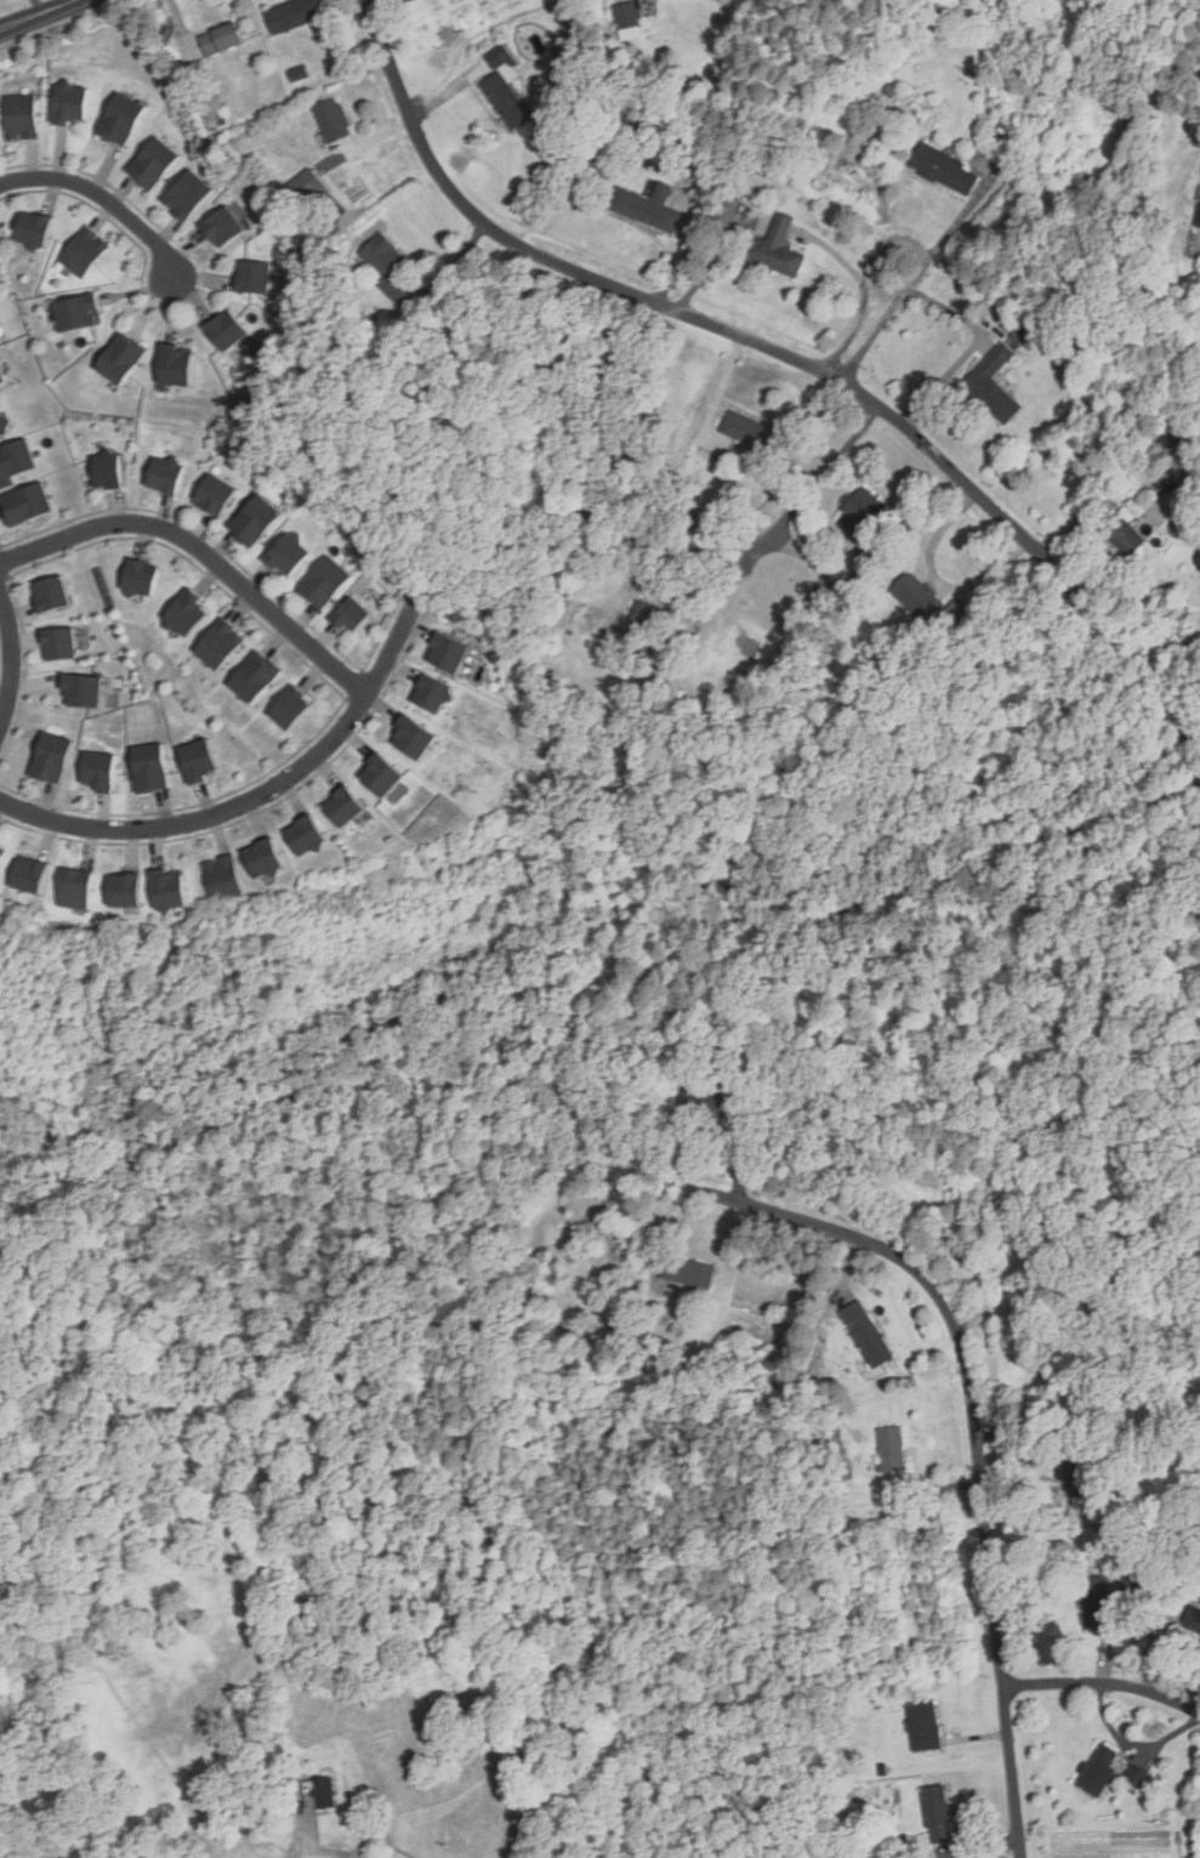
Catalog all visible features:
building: (295, 13)
road: (38, 15)
building: (627, 15)
building: (221, 39)
building: (499, 56)
building: (505, 100)
building: (69, 103)
building: (19, 115)
building: (119, 118)
building: (332, 119)
building: (152, 161)
building: (944, 169)
building: (308, 188)
building: (186, 194)
road: (103, 197)
building: (647, 206)
building: (723, 212)
building: (1198, 215)
building: (221, 226)
building: (32, 228)
building: (775, 248)
building: (83, 251)
building: (386, 262)
building: (254, 275)
road: (914, 279)
building: (78, 312)
road: (689, 316)
road: (869, 318)
building: (227, 329)
road: (972, 348)
building: (121, 357)
building: (175, 364)
building: (1, 377)
building: (994, 385)
building: (4, 422)
building: (753, 432)
building: (15, 460)
building: (107, 470)
building: (164, 475)
building: (212, 494)
building: (25, 502)
road: (795, 508)
building: (861, 512)
building: (254, 519)
building: (1124, 530)
road: (204, 550)
building: (286, 553)
building: (140, 576)
road: (939, 579)
building: (324, 581)
building: (51, 593)
building: (919, 596)
building: (959, 608)
building: (187, 613)
building: (646, 614)
building: (349, 615)
building: (58, 643)
building: (220, 643)
building: (448, 652)
road: (13, 659)
building: (255, 676)
building: (81, 689)
building: (432, 693)
building: (290, 706)
building: (413, 737)
building: (51, 757)
building: (199, 760)
building: (150, 767)
building: (97, 769)
building: (381, 774)
road: (256, 797)
building: (345, 806)
building: (307, 835)
building: (2, 857)
building: (265, 858)
building: (35, 874)
building: (224, 879)
building: (174, 887)
building: (81, 888)
building: (132, 891)
building: (703, 1106)
building: (688, 1272)
building: (866, 1334)
building: (892, 1449)
road: (973, 1464)
building: (1076, 1473)
building: (1131, 1585)
building: (1094, 1600)
building: (1193, 1619)
road: (1103, 1684)
building: (923, 1727)
building: (1098, 1771)
building: (1134, 1775)
building: (319, 1794)
building: (937, 1814)
road: (324, 1852)

